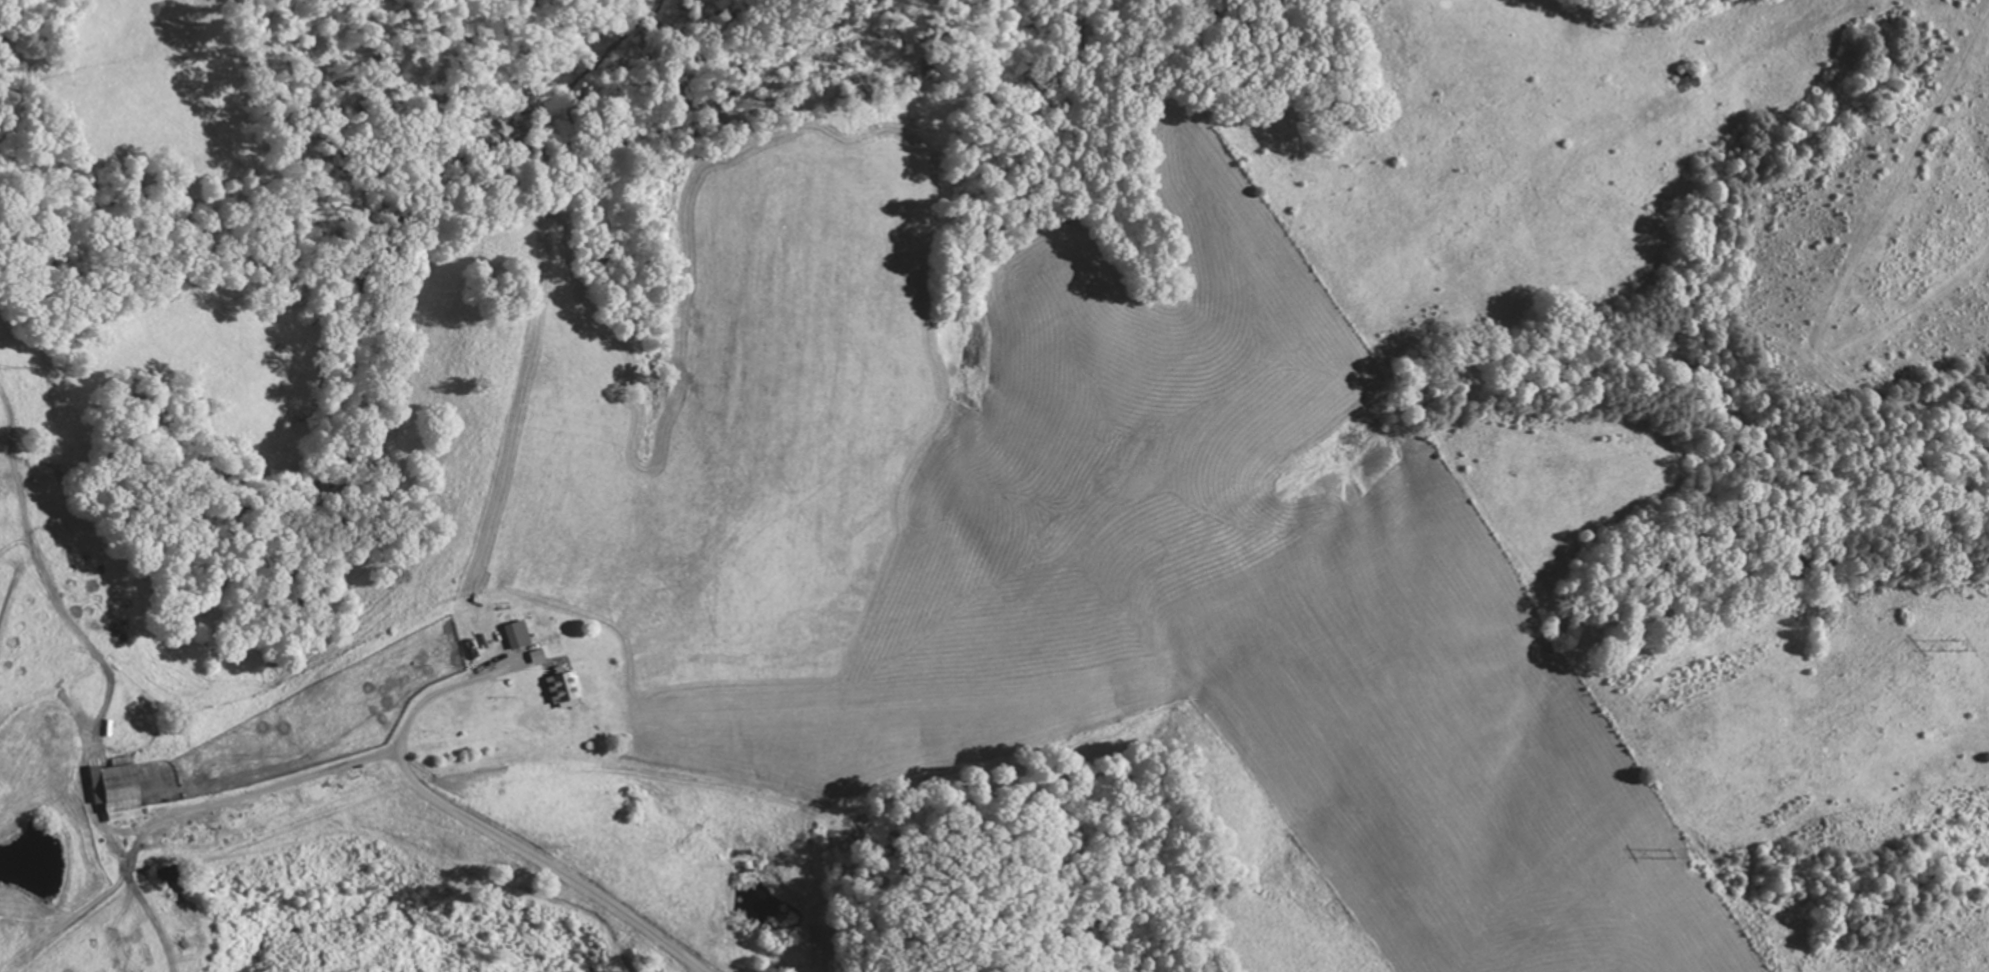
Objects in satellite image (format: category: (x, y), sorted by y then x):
building: (1685, 80)
building: (516, 638)
building: (563, 693)
road: (1838, 734)
building: (115, 794)

